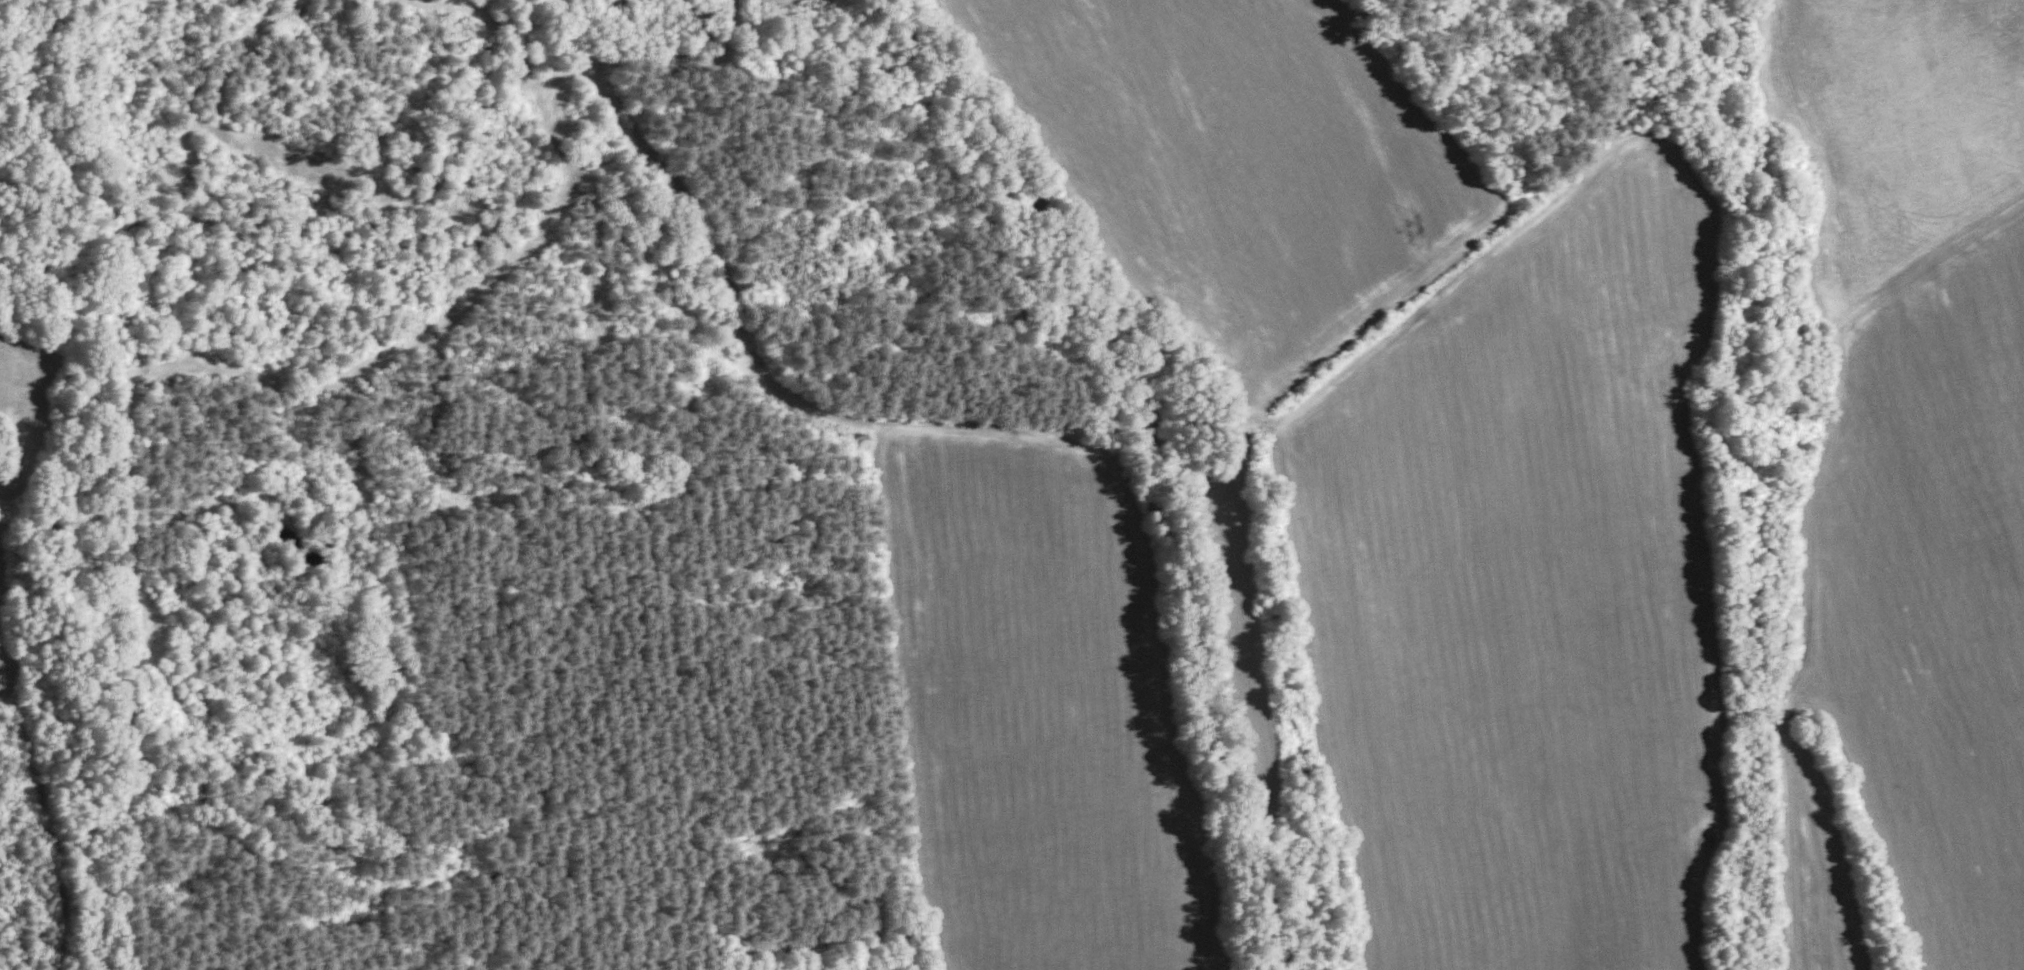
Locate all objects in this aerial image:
road: (1757, 260)

